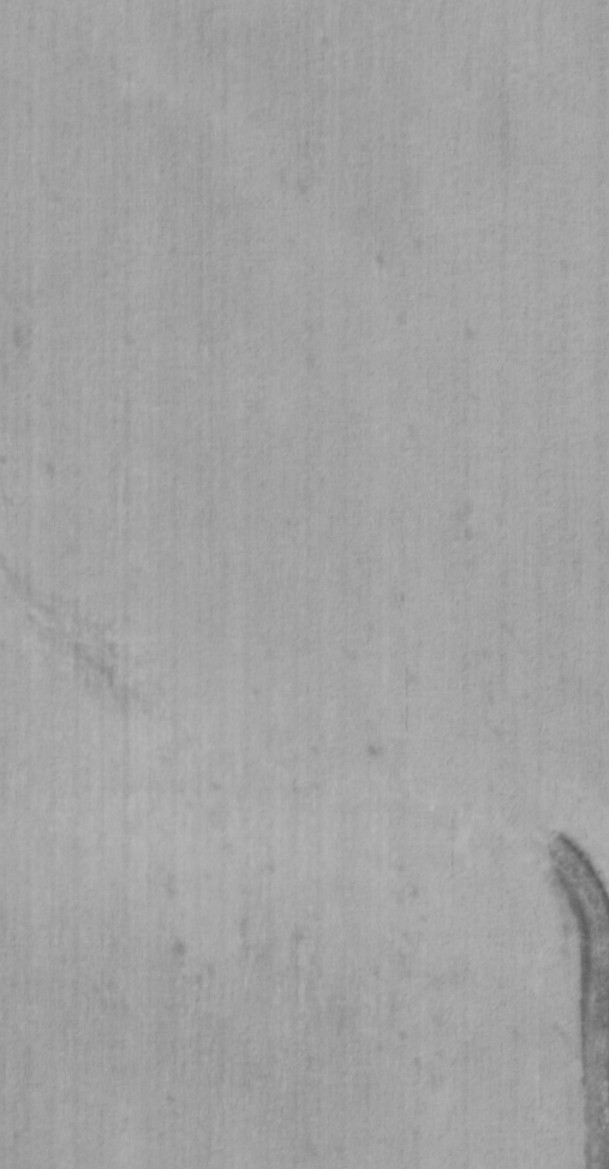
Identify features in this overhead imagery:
crop: (304, 584)

